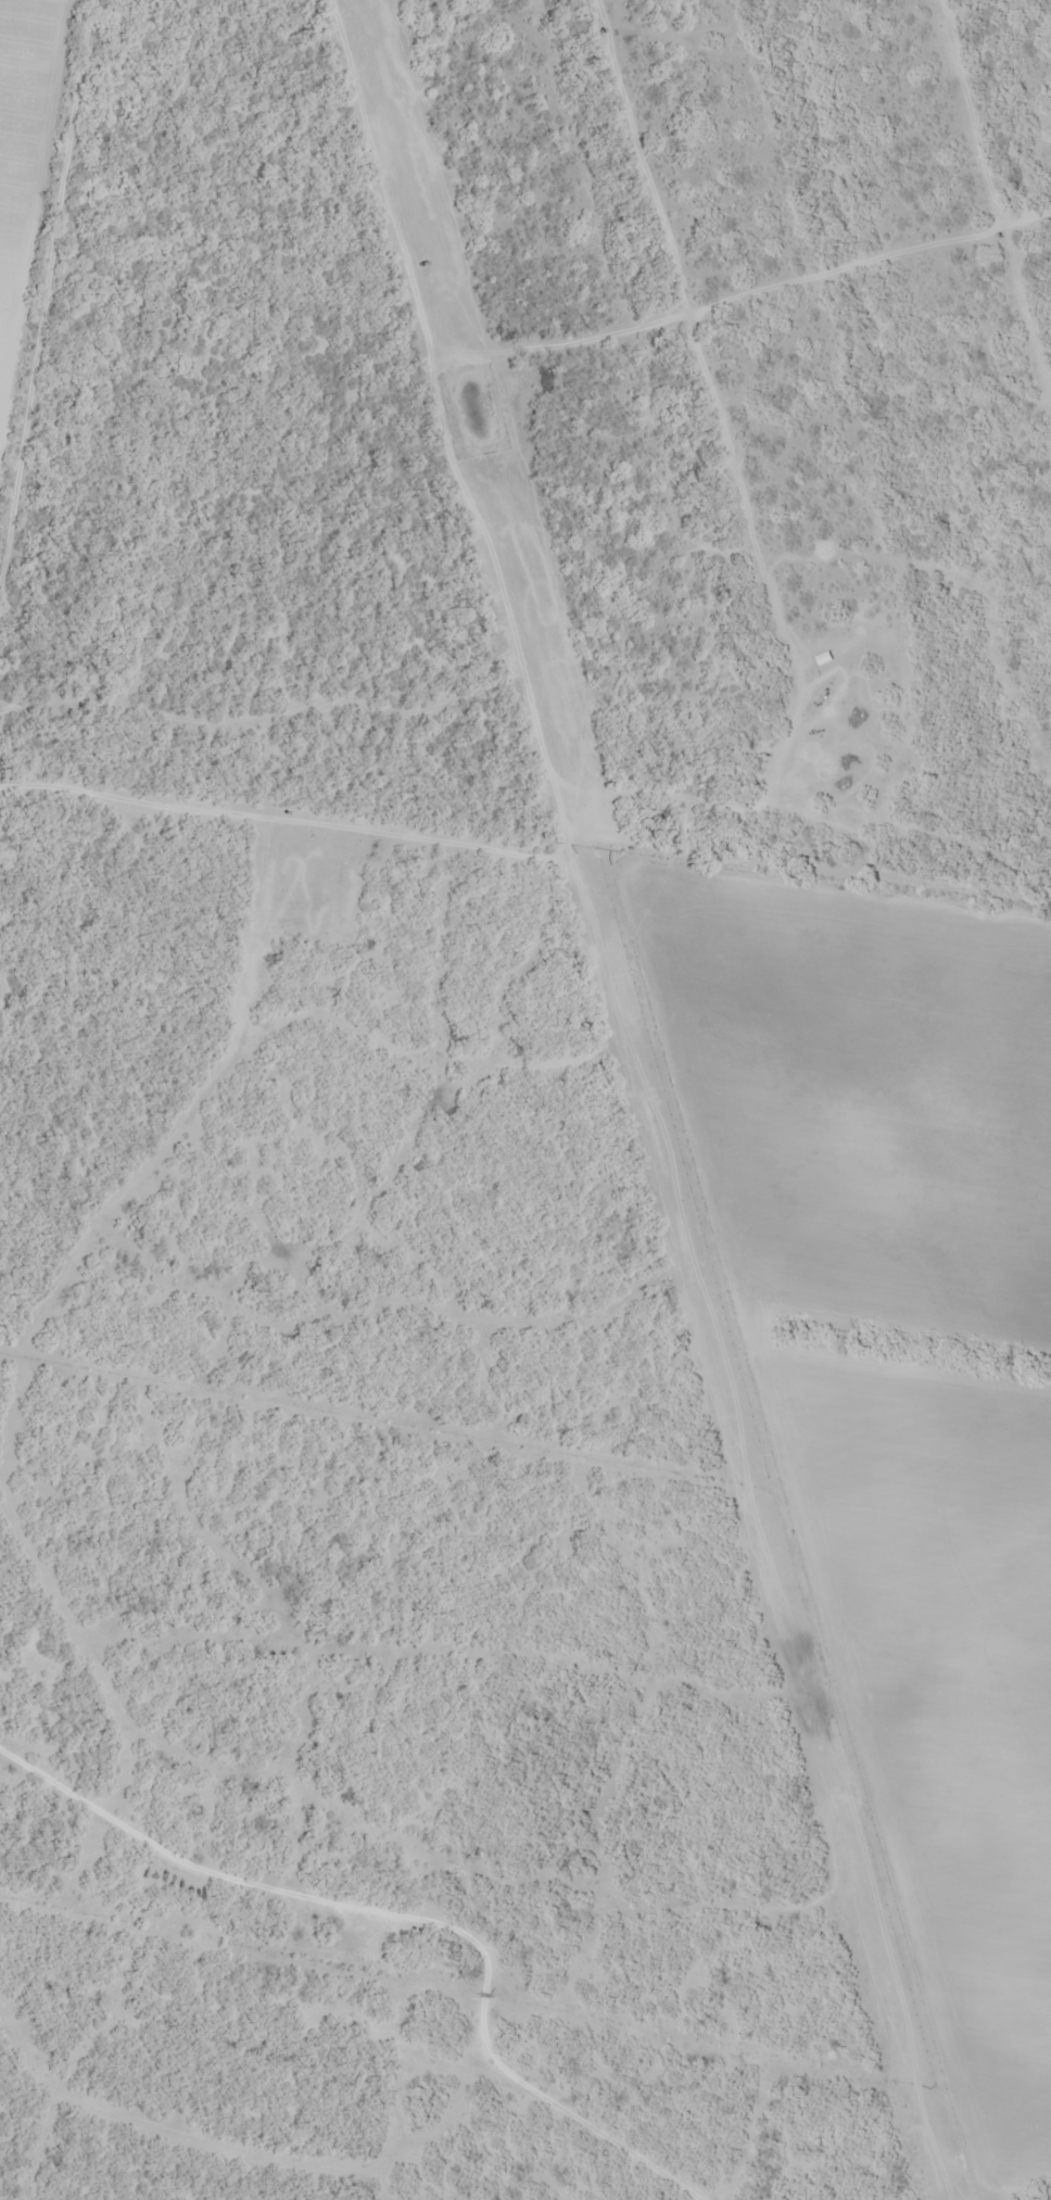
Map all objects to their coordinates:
building: (824, 658)

